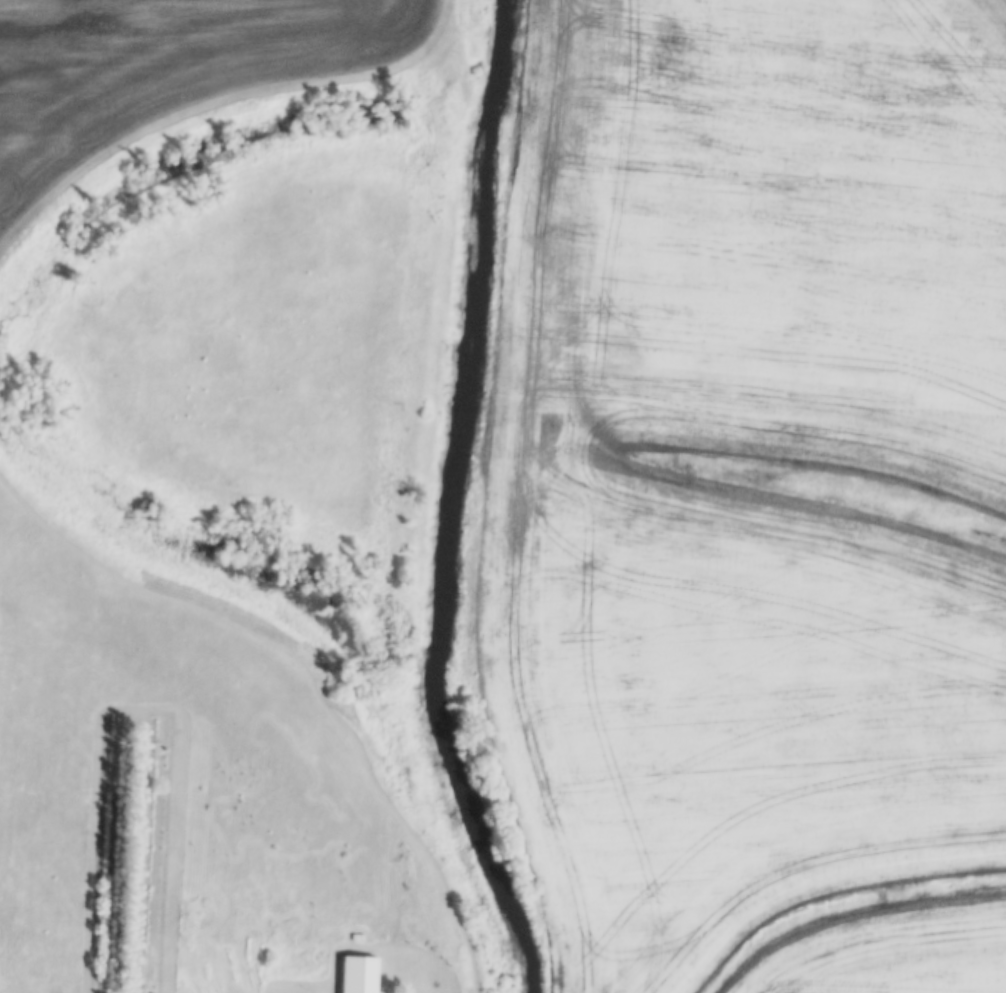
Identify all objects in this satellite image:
crop: (166, 70)
crop: (613, 500)
building: (357, 940)
crop: (885, 947)
building: (360, 973)

